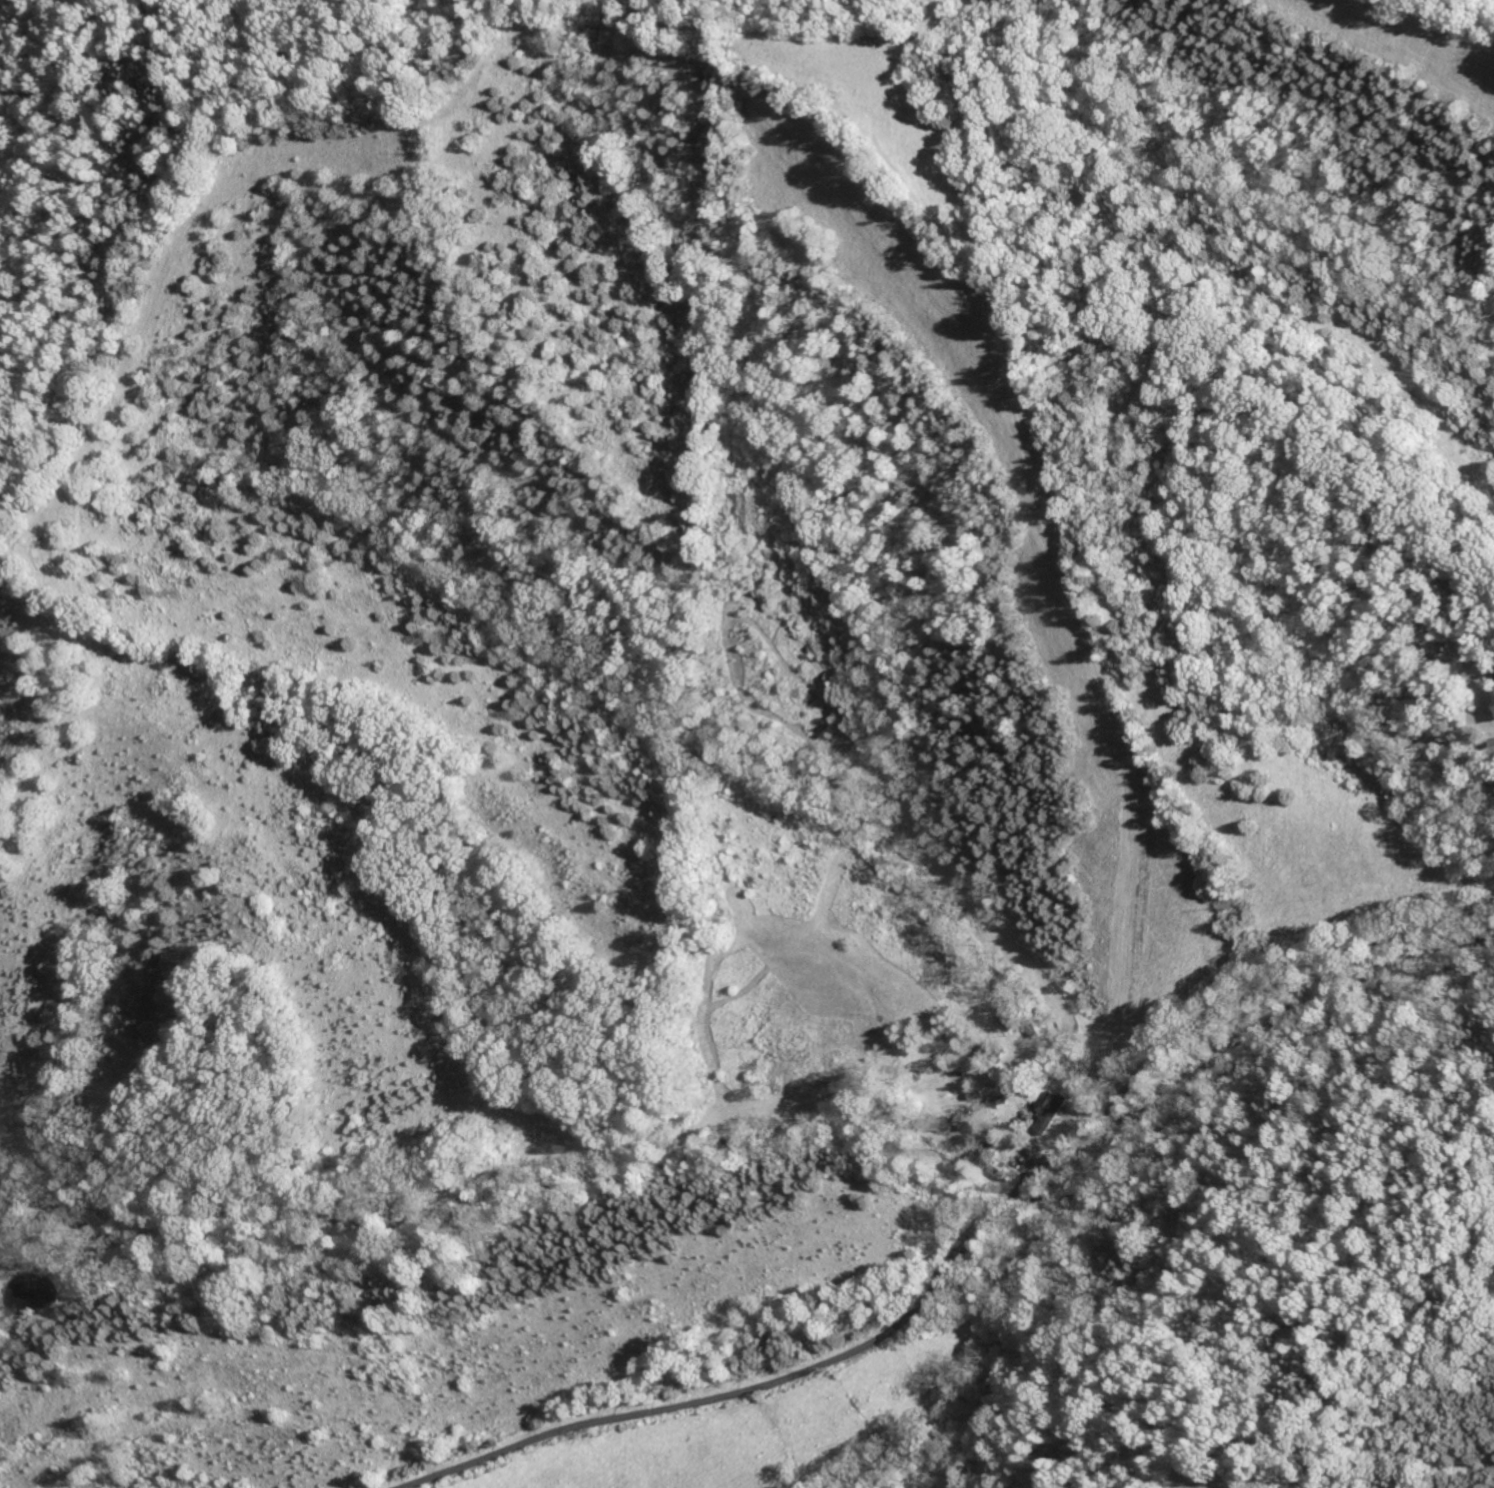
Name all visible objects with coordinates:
road: (1493, 893)
road: (967, 1240)

